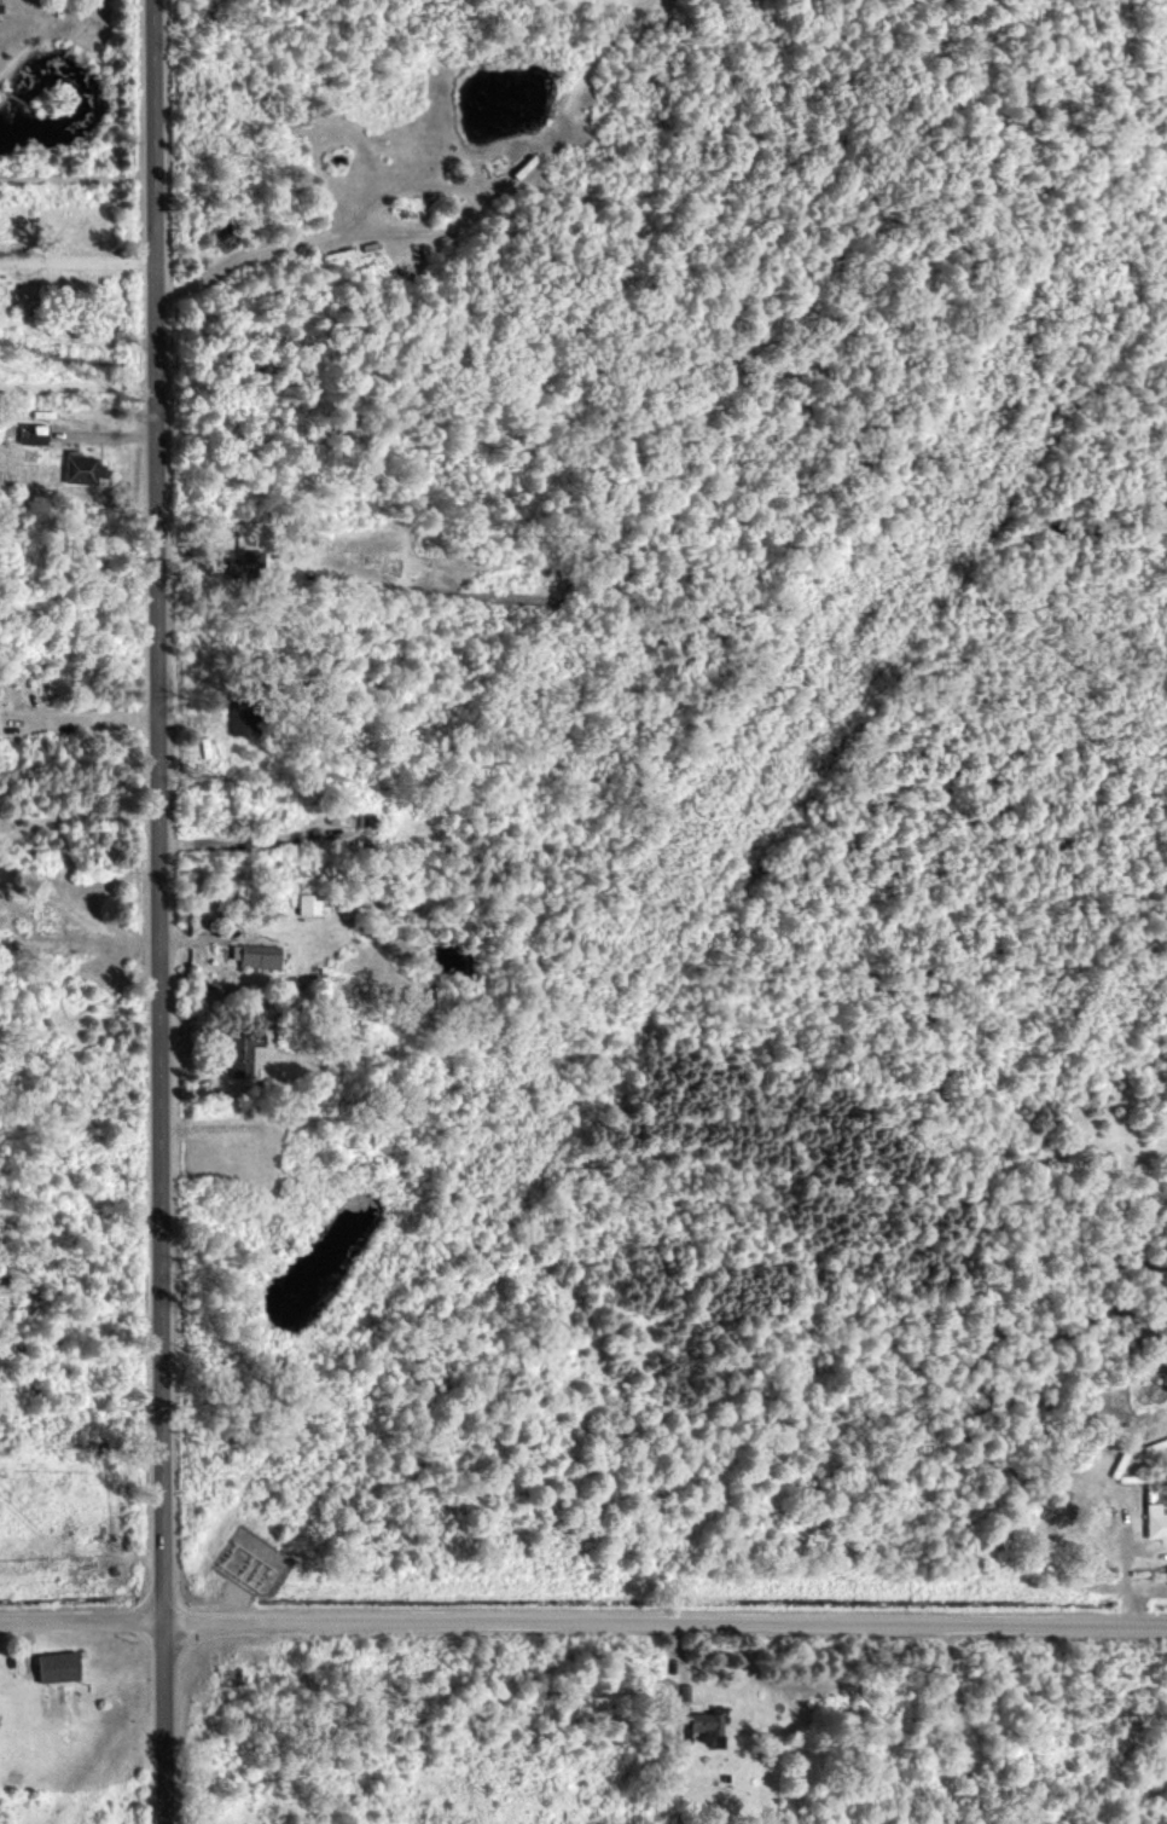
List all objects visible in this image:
road: (76, 261)
road: (76, 387)
building: (82, 468)
building: (242, 561)
road: (83, 717)
building: (242, 717)
building: (308, 903)
road: (157, 911)
building: (252, 954)
building: (242, 1052)
building: (1155, 1521)
road: (1127, 1574)
road: (582, 1626)
building: (56, 1667)
building: (708, 1725)

